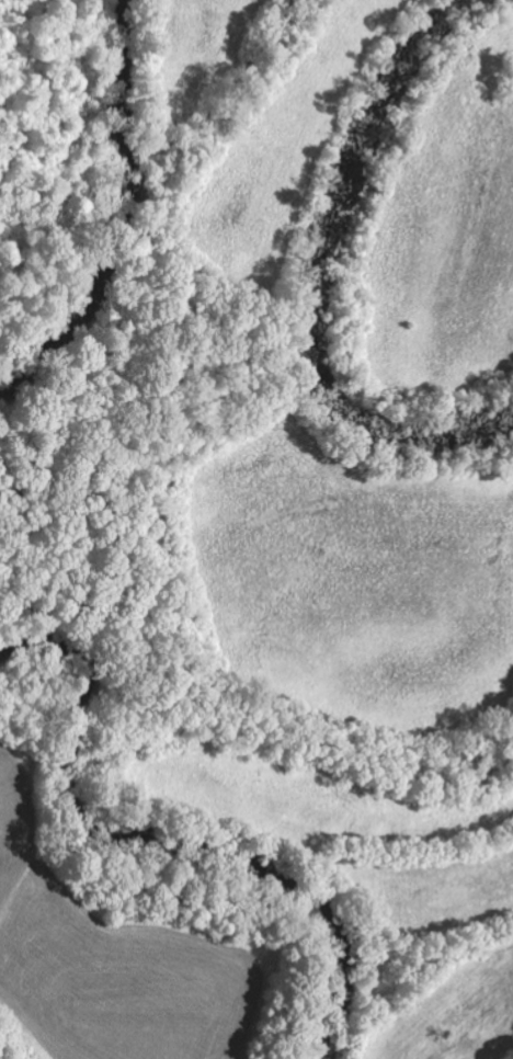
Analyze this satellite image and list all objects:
river: (116, 214)
river: (186, 859)

